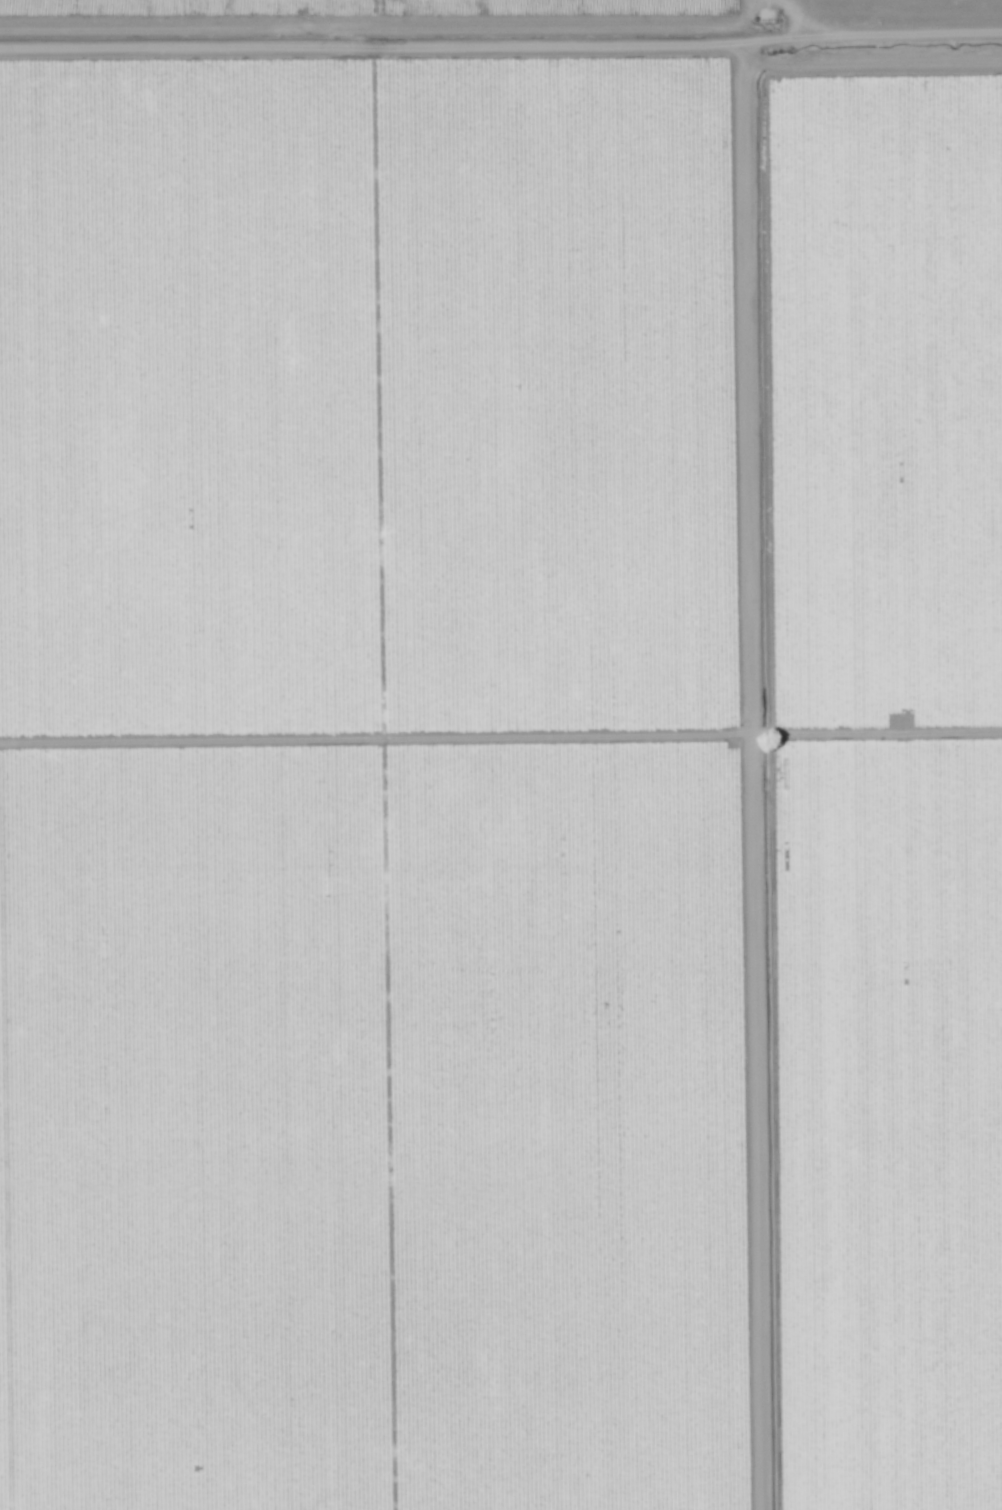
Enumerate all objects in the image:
crop: (371, 27)
crop: (876, 27)
crop: (501, 782)

